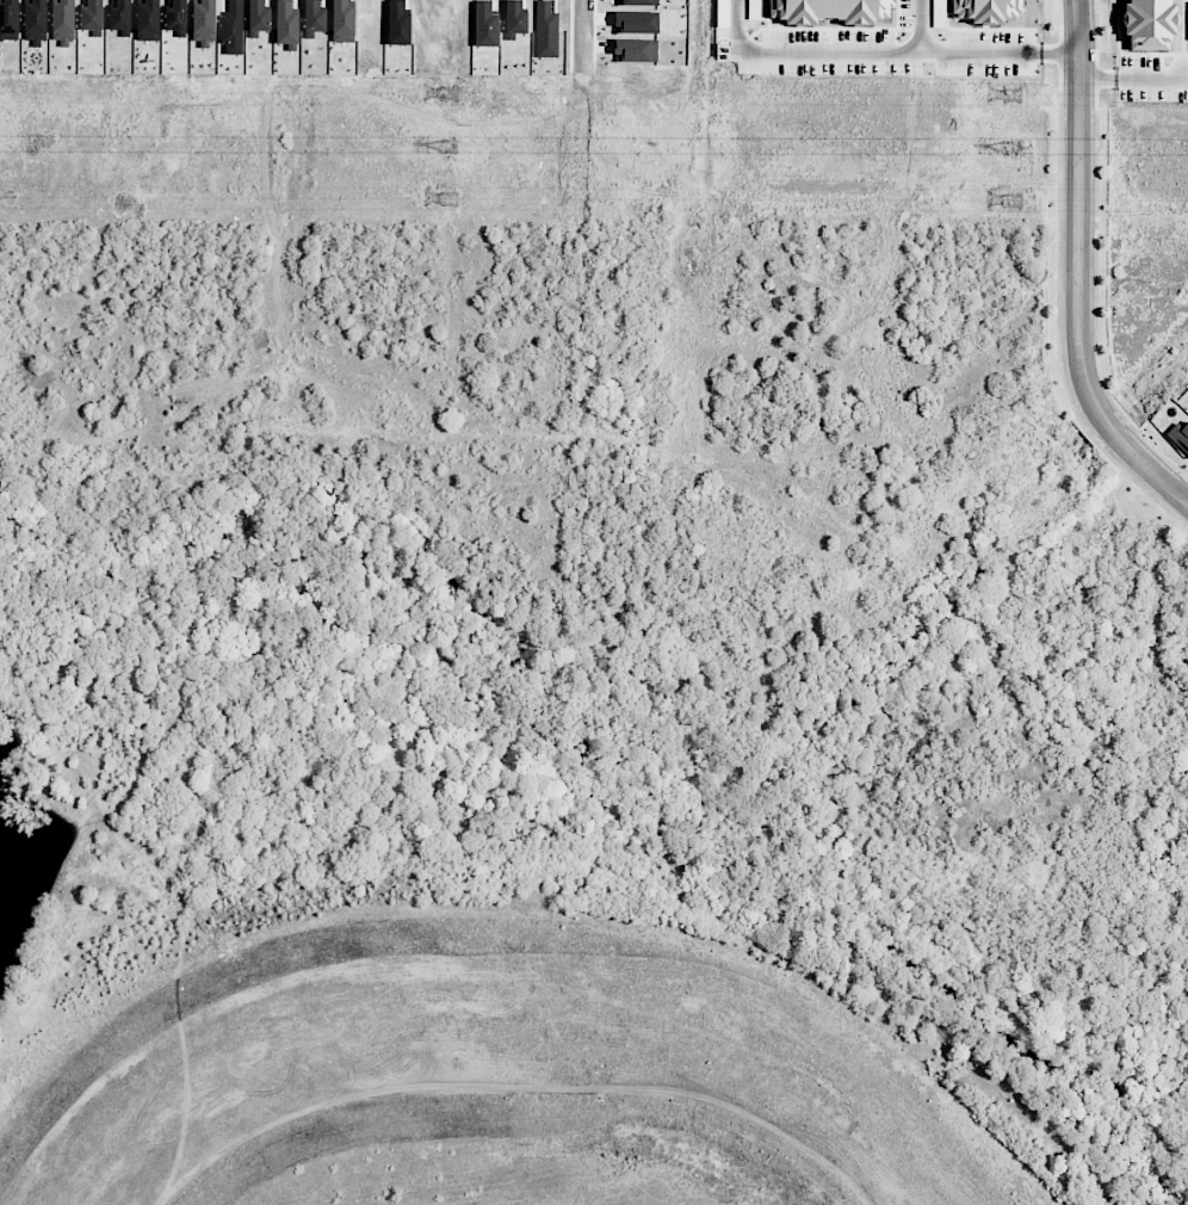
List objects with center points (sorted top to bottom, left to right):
building: (827, 10)
building: (985, 11)
building: (1147, 24)
road: (922, 26)
road: (584, 35)
road: (889, 51)
road: (1134, 80)
power tower: (450, 95)
power tower: (1014, 98)
power tower: (448, 147)
power tower: (1014, 148)
power tower: (450, 199)
power tower: (1014, 202)
road: (1078, 272)
building: (1181, 435)

